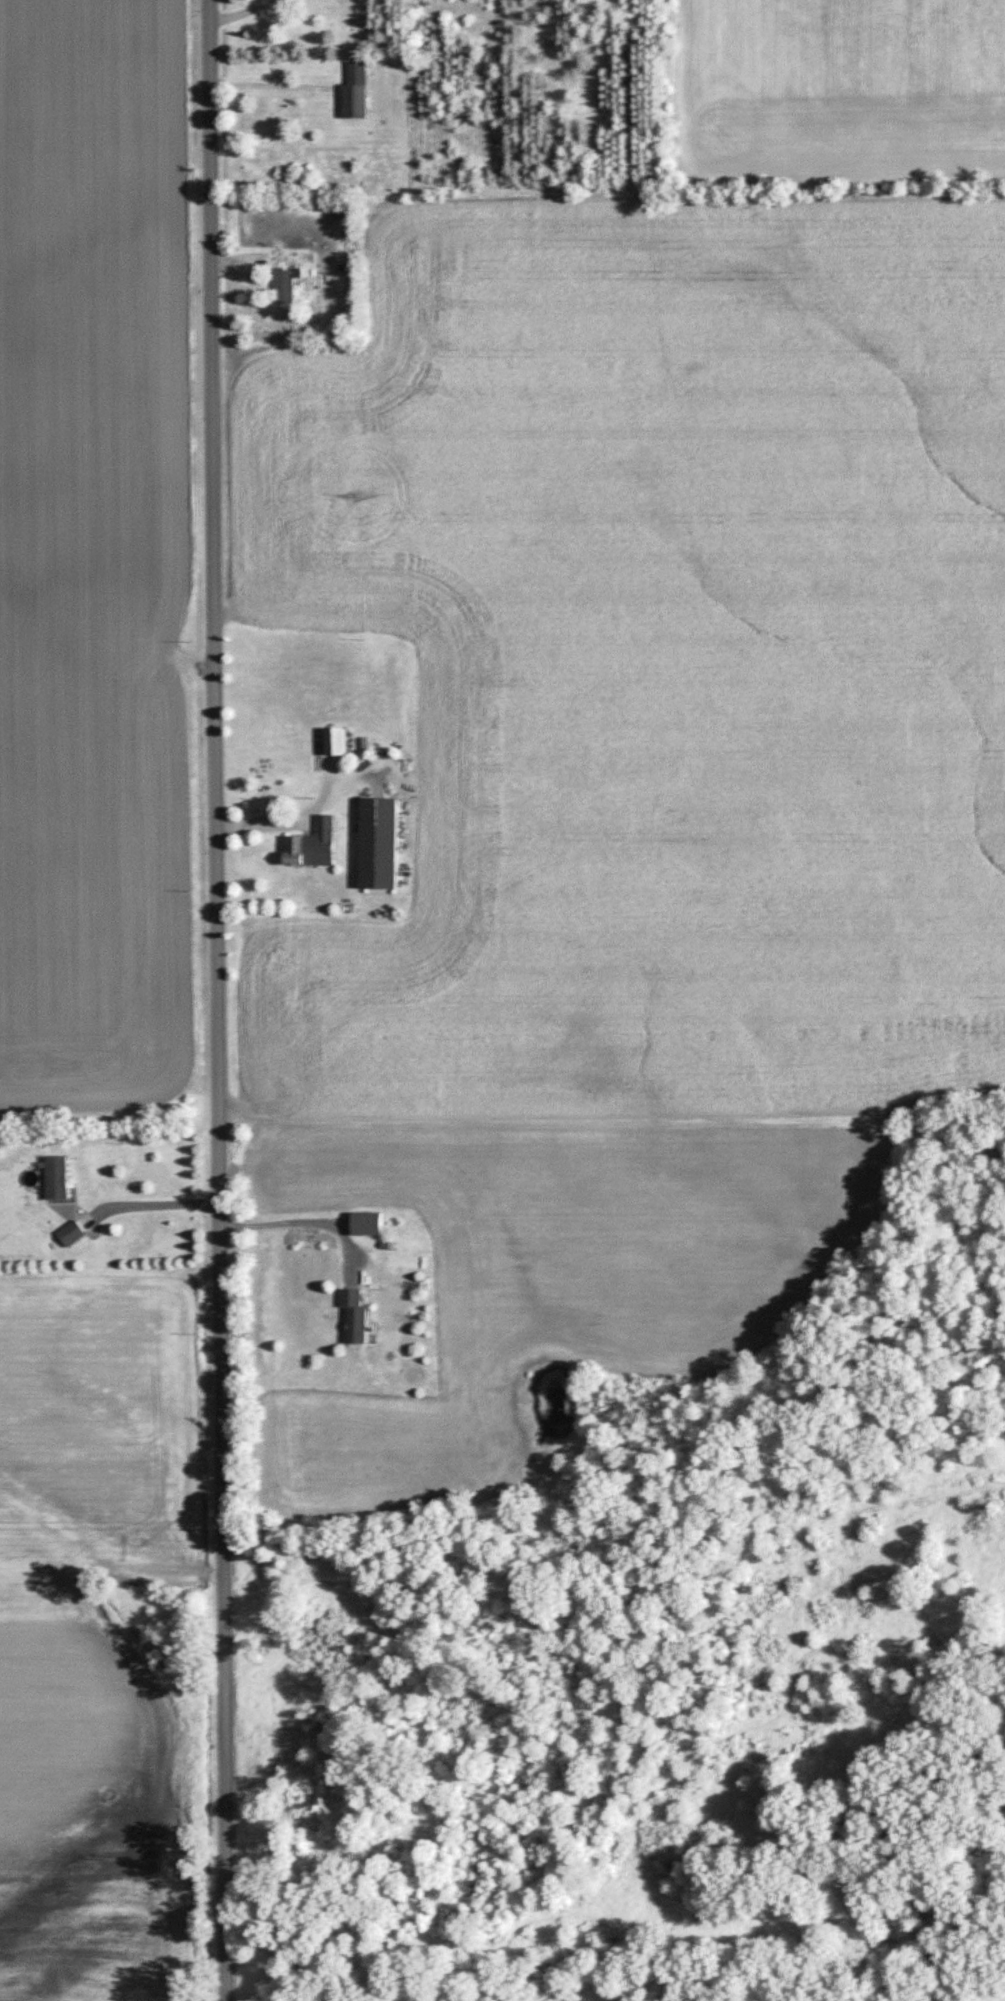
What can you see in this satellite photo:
road: (237, 14)
building: (357, 93)
building: (289, 287)
building: (343, 305)
building: (339, 742)
building: (316, 846)
building: (382, 855)
road: (217, 1000)
building: (60, 1179)
road: (153, 1205)
road: (307, 1223)
building: (73, 1235)
building: (358, 1317)

